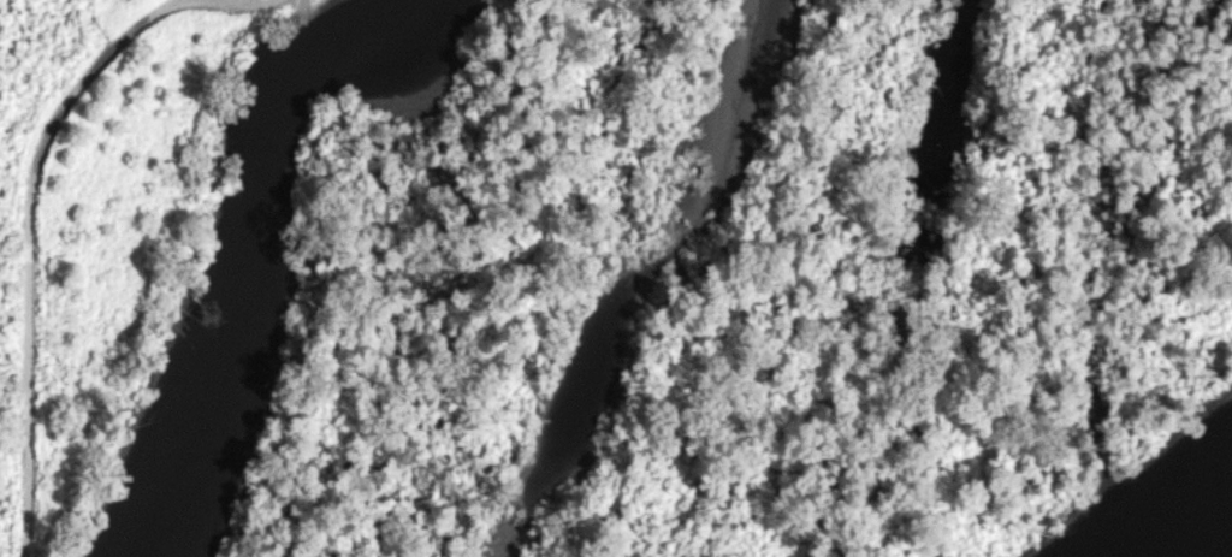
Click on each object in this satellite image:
road: (25, 249)

